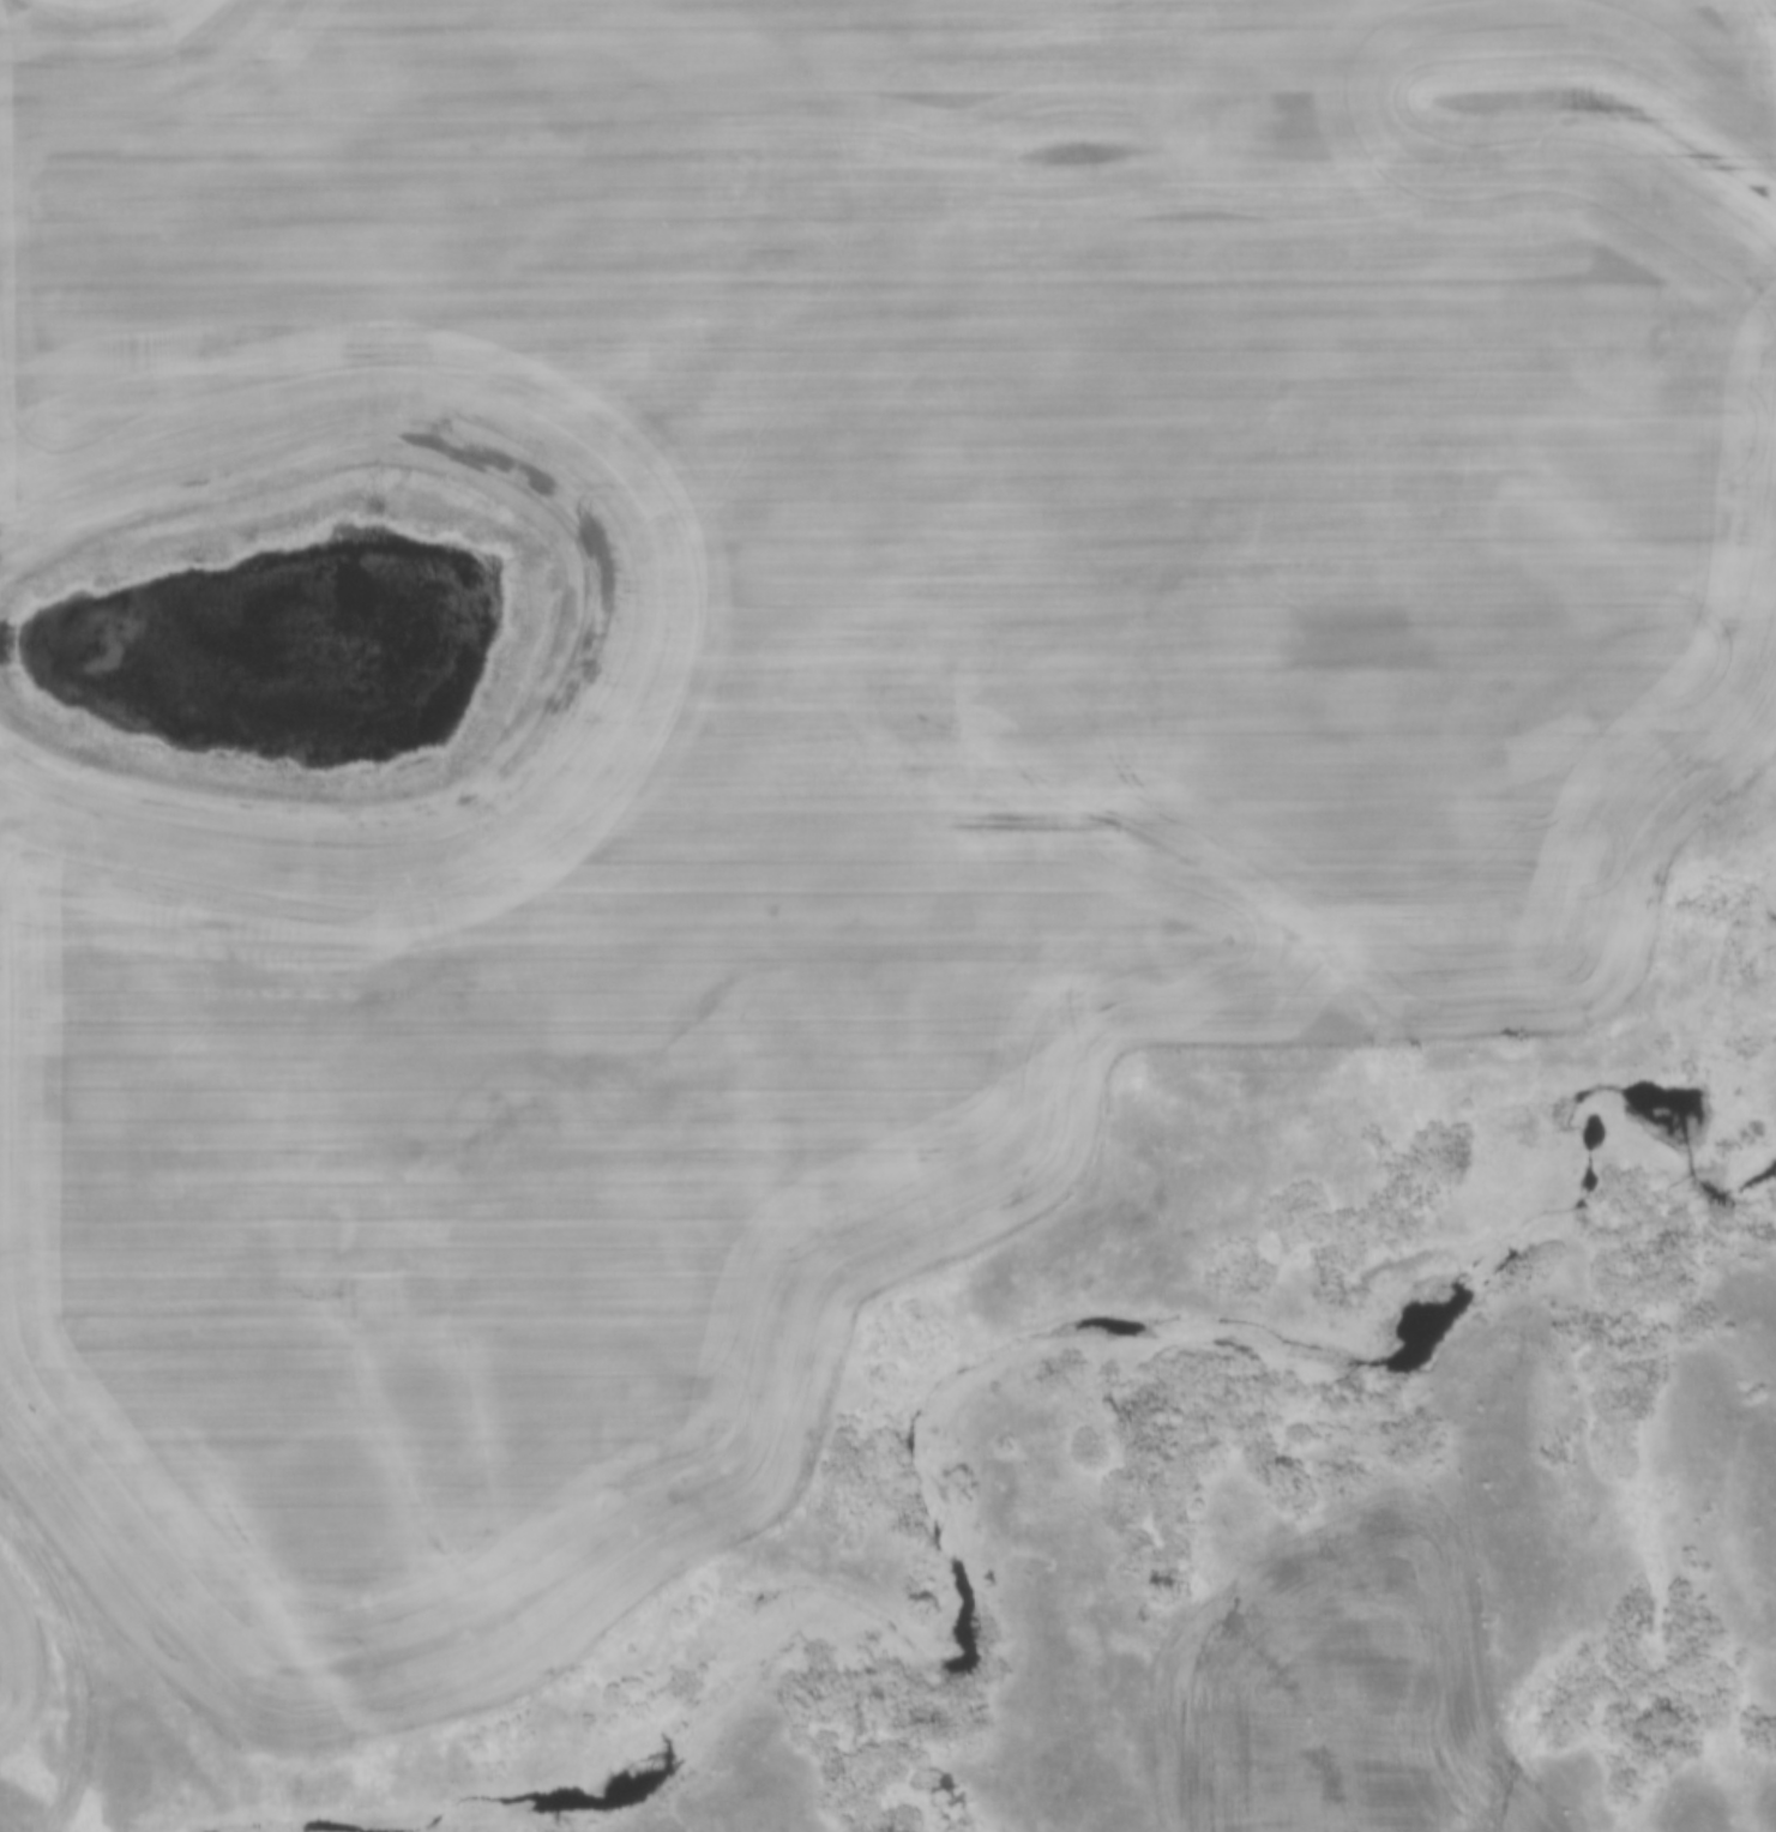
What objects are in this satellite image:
road: (85, 1658)

